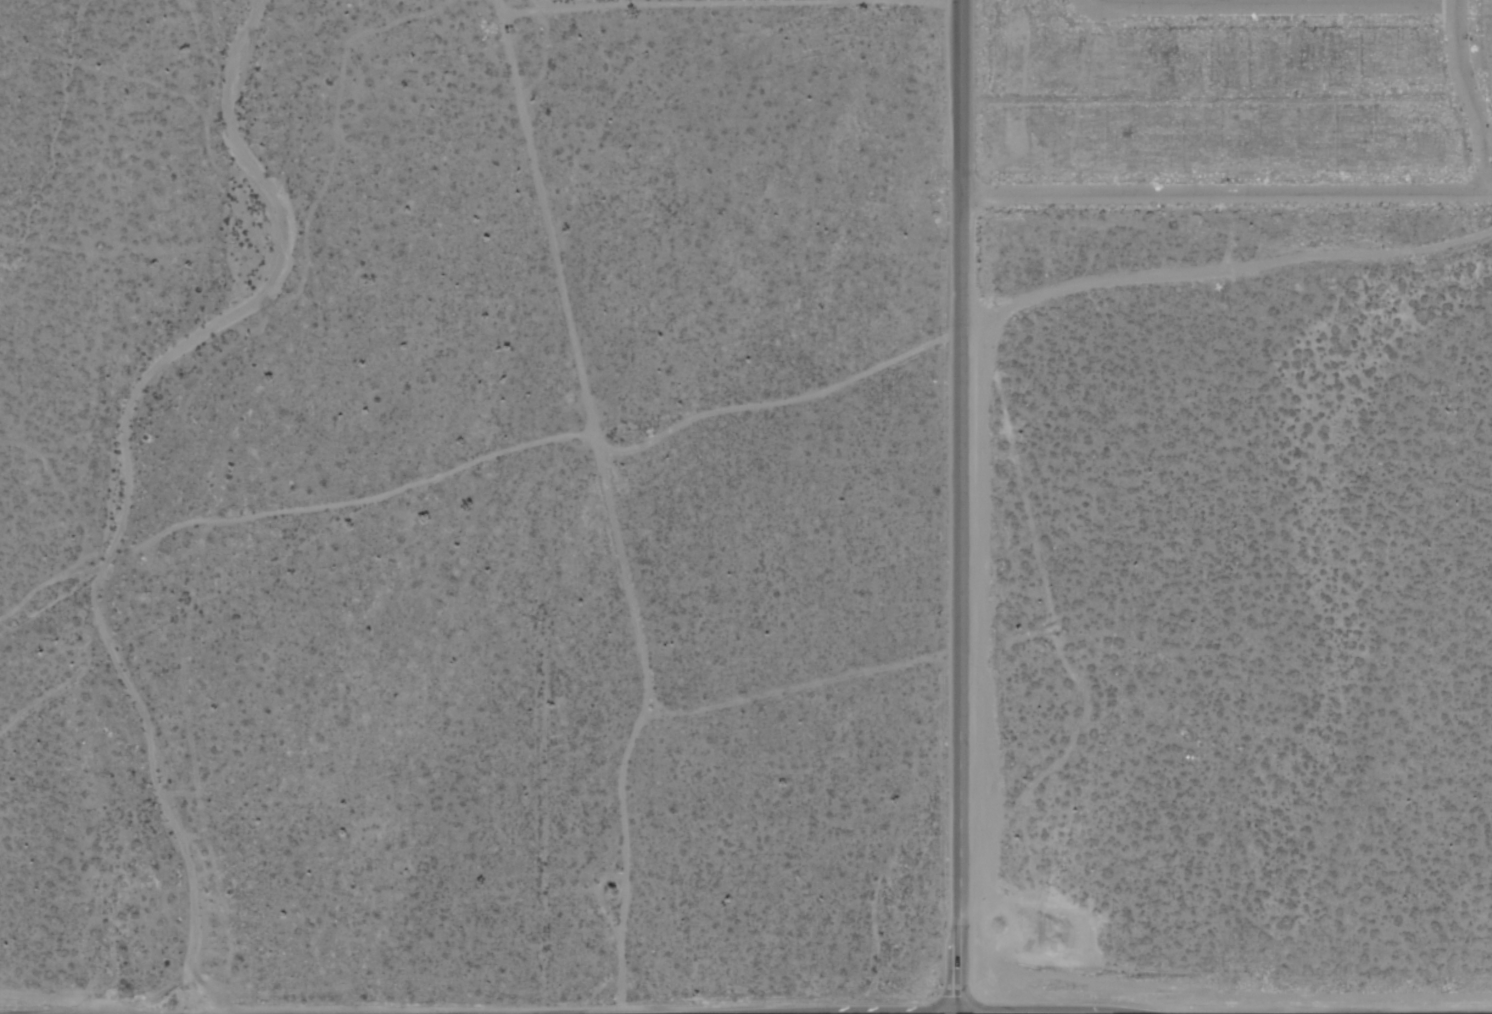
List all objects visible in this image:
road: (1362, 1)
road: (1470, 97)
road: (1227, 194)
road: (126, 474)
road: (958, 507)
road: (46, 611)

